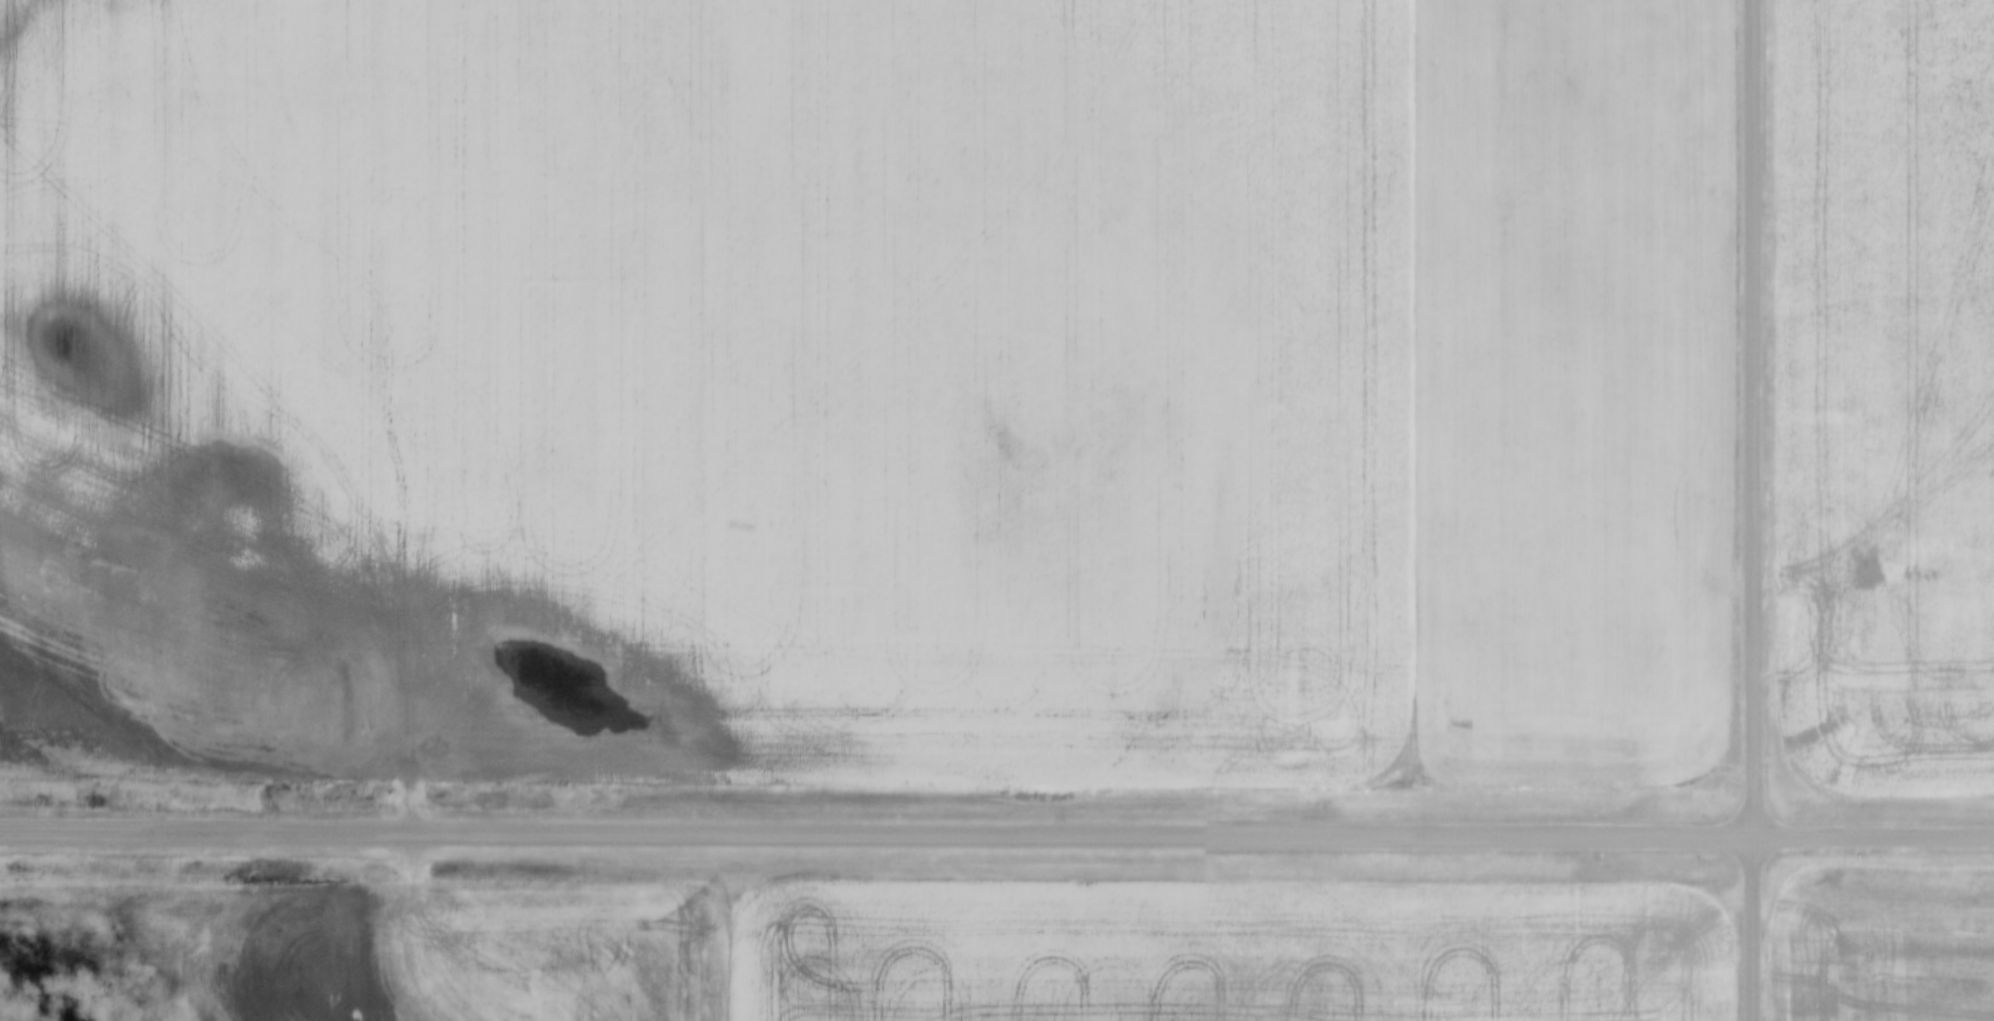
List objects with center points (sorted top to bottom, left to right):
road: (1750, 510)
road: (875, 835)
road: (1872, 836)

